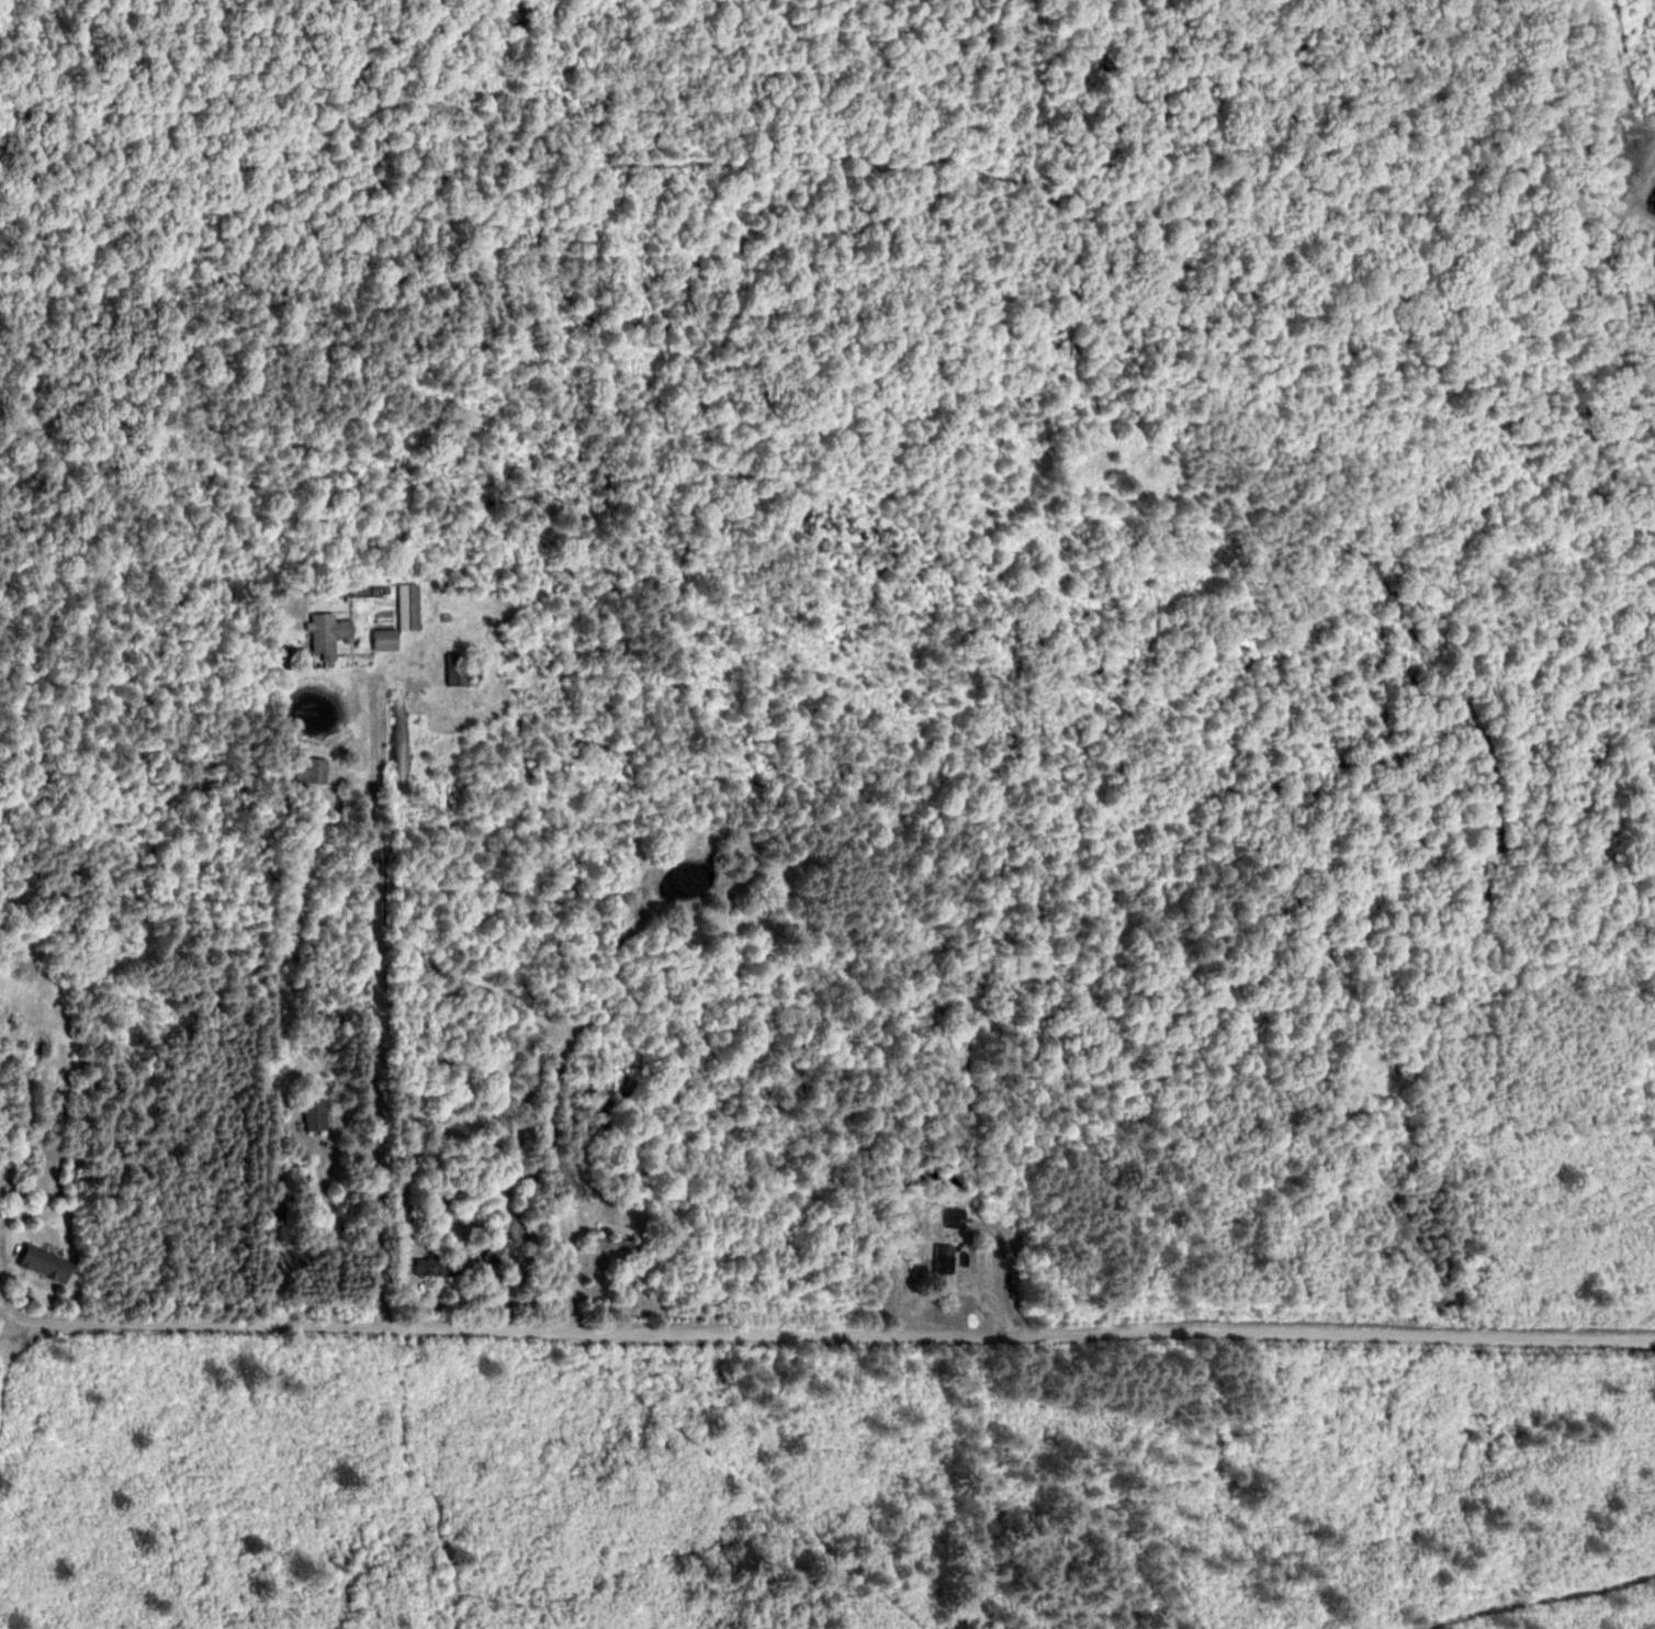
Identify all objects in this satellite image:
building: (409, 607)
building: (328, 633)
building: (385, 639)
building: (458, 671)
building: (314, 769)
road: (385, 1004)
building: (316, 1112)
building: (956, 1215)
building: (616, 1243)
building: (498, 1246)
building: (945, 1258)
building: (46, 1262)
building: (438, 1266)
road: (837, 1327)

